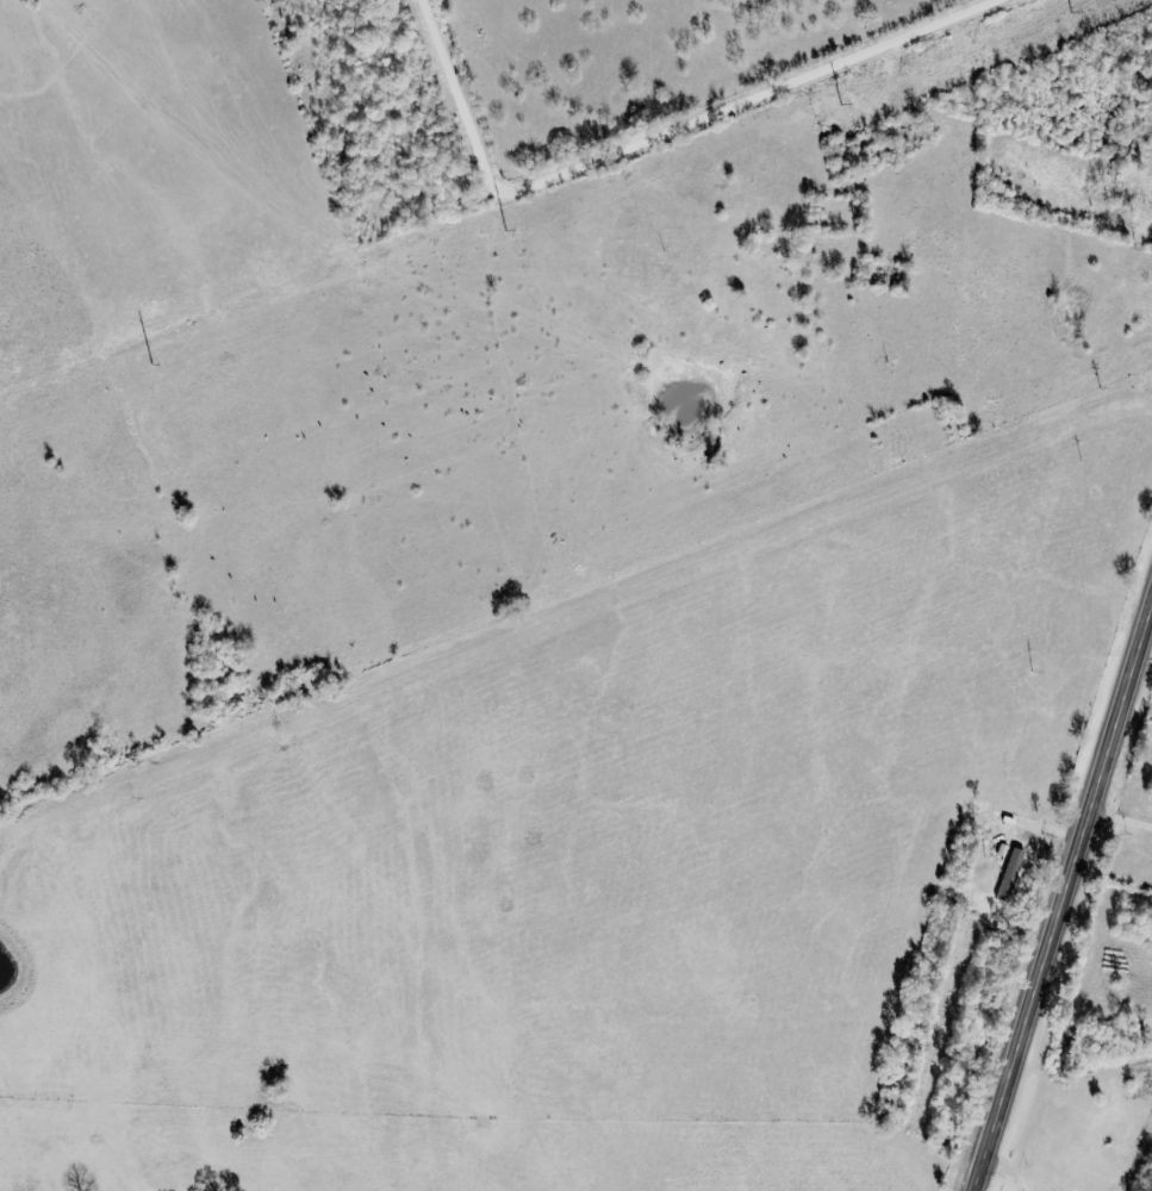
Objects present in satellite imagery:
road: (1063, 900)

